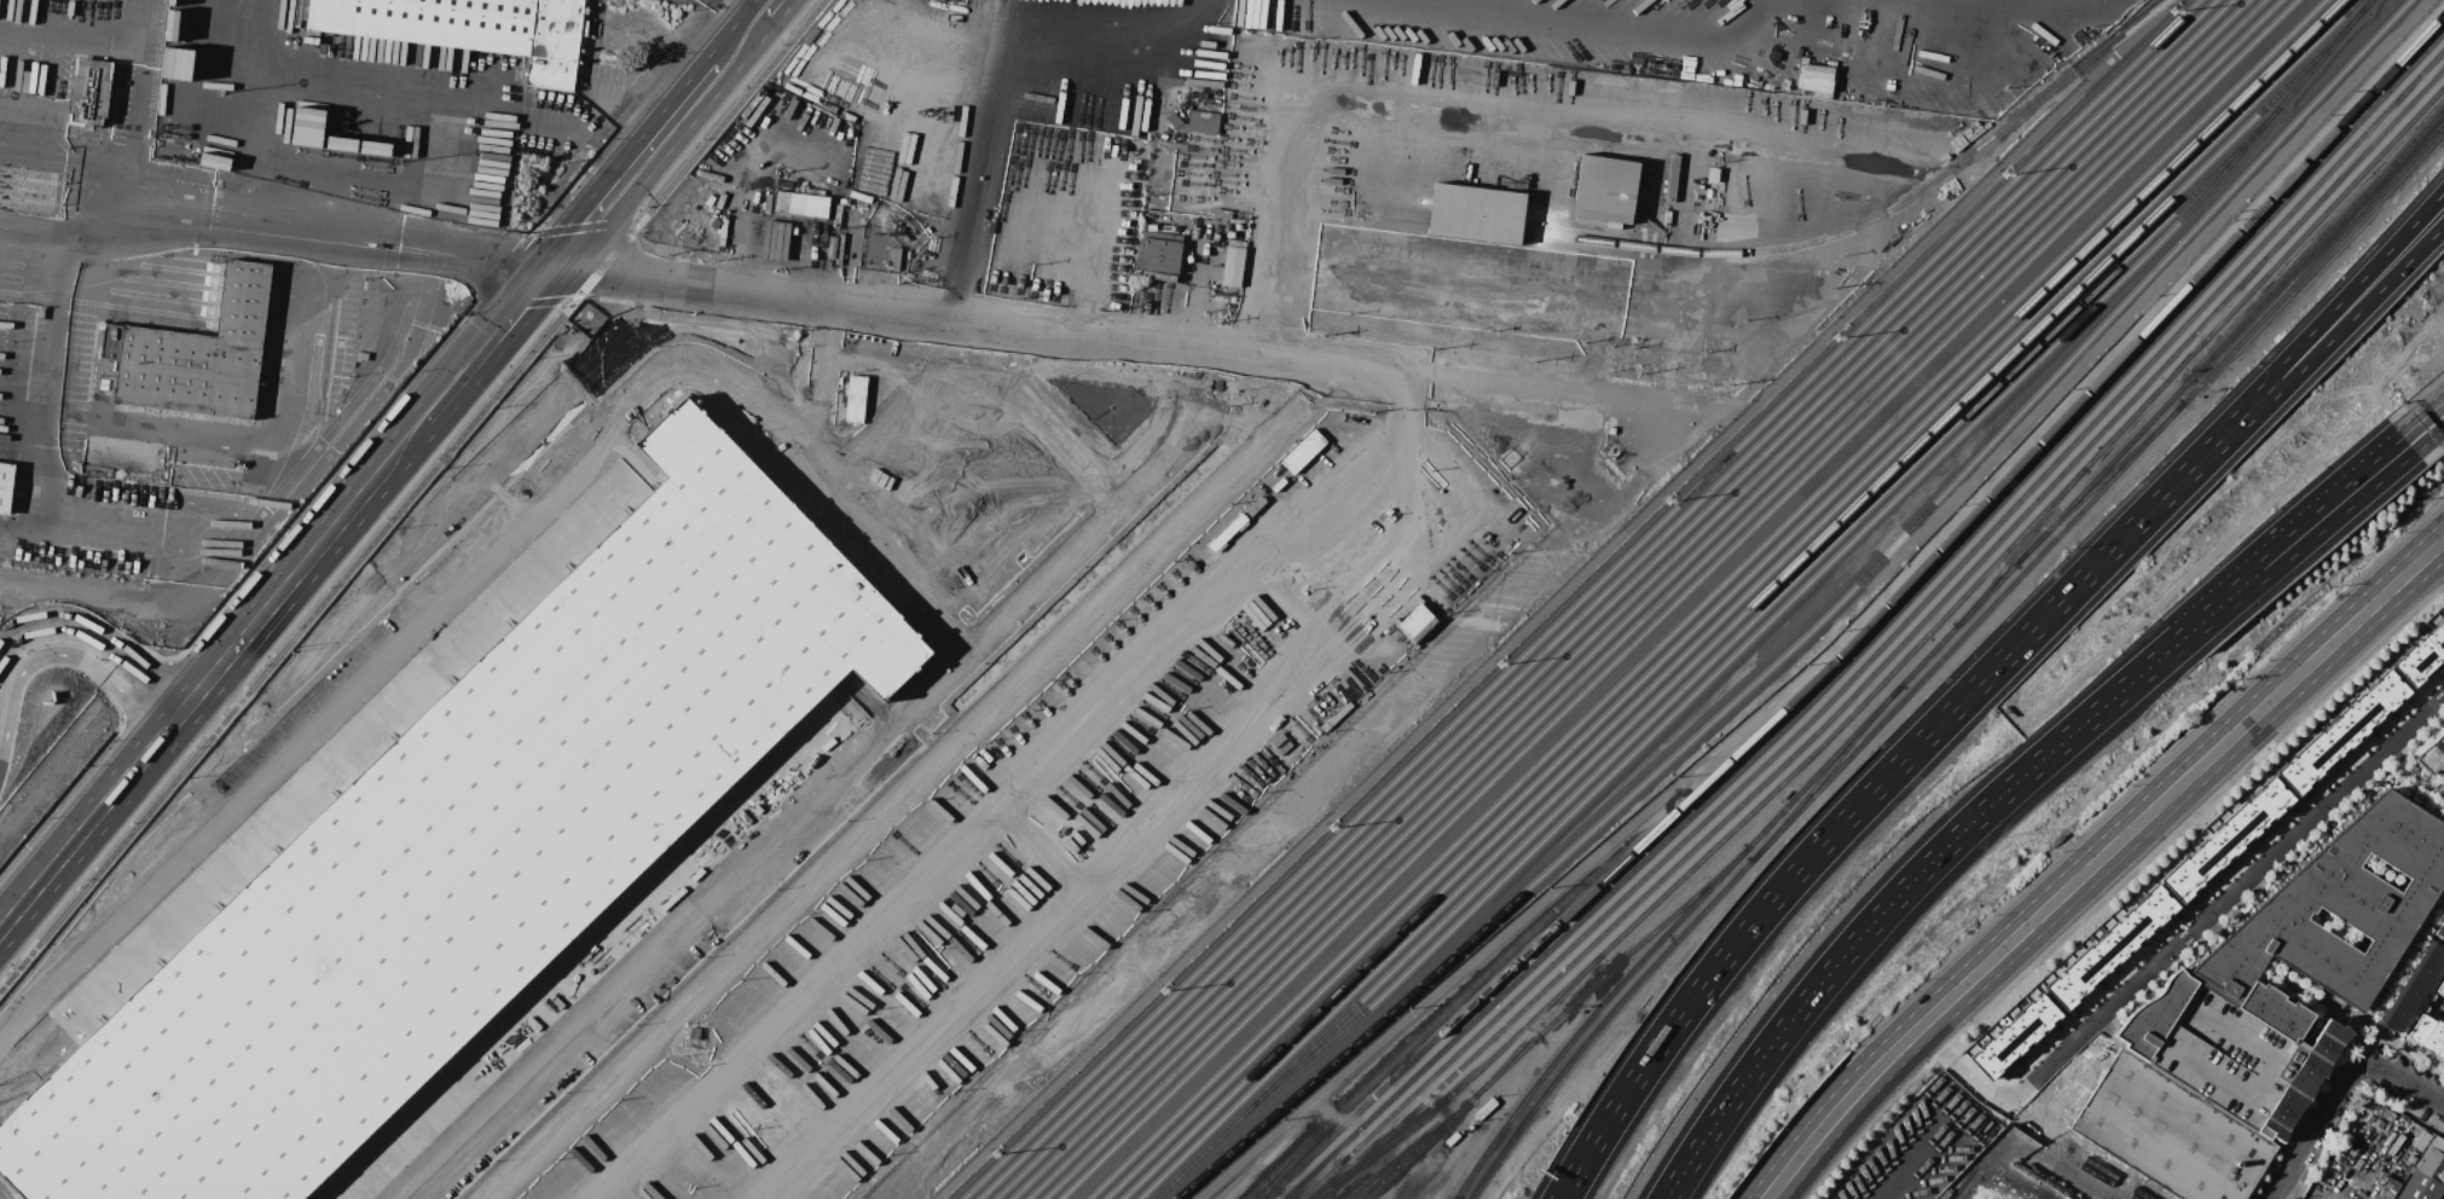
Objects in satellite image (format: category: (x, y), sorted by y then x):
road: (742, 11)
building: (432, 22)
road: (745, 36)
road: (66, 37)
road: (1291, 41)
building: (555, 44)
building: (91, 91)
road: (348, 92)
road: (988, 98)
road: (2066, 102)
road: (1541, 104)
road: (627, 105)
road: (732, 109)
road: (2029, 117)
building: (1195, 122)
road: (1985, 139)
road: (58, 161)
road: (637, 164)
building: (1604, 189)
building: (801, 203)
building: (1475, 213)
building: (1222, 214)
road: (1284, 216)
road: (191, 218)
road: (586, 225)
road: (776, 234)
building: (776, 239)
railway: (1807, 241)
road: (743, 248)
road: (473, 249)
building: (1160, 251)
road: (807, 254)
road: (966, 254)
traffic signals: (564, 259)
road: (608, 259)
railway: (2312, 262)
building: (1233, 266)
road: (498, 268)
road: (93, 280)
road: (520, 303)
road: (1083, 328)
railway: (2229, 335)
road: (2301, 340)
building: (199, 354)
road: (2306, 363)
road: (473, 364)
road: (813, 396)
road: (1001, 396)
building: (855, 398)
road: (1674, 401)
road: (2422, 417)
road: (2428, 439)
road: (986, 450)
building: (1302, 451)
road: (933, 463)
parking lot: (944, 482)
railway: (2098, 482)
building: (6, 486)
road: (890, 490)
road: (2332, 500)
road: (276, 509)
road: (2339, 509)
railway: (2067, 525)
road: (862, 531)
road: (1010, 545)
railway: (2020, 548)
railway: (1824, 564)
road: (289, 580)
railway: (1985, 595)
railway: (1579, 598)
railway: (1627, 598)
railway: (1660, 598)
railway: (1676, 598)
railway: (1720, 598)
railway: (1737, 598)
railway: (1595, 599)
railway: (1611, 599)
railway: (1644, 599)
road: (1691, 599)
railway: (1704, 599)
road: (2222, 602)
railway: (1750, 603)
railway: (1870, 621)
building: (1415, 622)
railway: (1813, 624)
railway: (1880, 631)
railway: (1887, 642)
railway: (1903, 642)
road: (288, 644)
road: (88, 650)
road: (380, 653)
railway: (1716, 653)
railway: (1928, 655)
building: (2421, 655)
railway: (1899, 665)
road: (1447, 702)
building: (2340, 731)
road: (224, 736)
railway: (1851, 753)
building: (2433, 754)
railway: (1830, 758)
railway: (1825, 772)
road: (2411, 780)
road: (834, 784)
road: (1017, 787)
road: (99, 810)
road: (1836, 827)
road: (1143, 833)
building: (2225, 839)
building: (467, 846)
road: (2096, 861)
road: (1895, 896)
road: (2228, 907)
building: (2316, 926)
building: (2442, 929)
building: (2109, 948)
railway: (1593, 981)
road: (2396, 984)
building: (2414, 989)
building: (2442, 991)
railway: (1460, 998)
road: (2438, 1006)
railway: (1597, 1007)
railway: (1600, 1023)
railway: (1537, 1025)
building: (2012, 1036)
building: (2429, 1036)
building: (2223, 1055)
parking lot: (2223, 1055)
building: (2304, 1079)
road: (2405, 1084)
road: (2315, 1129)
building: (2171, 1131)
road: (2299, 1135)
building: (2421, 1140)
road: (1992, 1153)
road: (1916, 1155)
railway: (1402, 1159)
building: (2432, 1160)
railway: (1396, 1162)
railway: (1291, 1163)
road: (2079, 1178)
building: (2420, 1187)
building: (2384, 1188)
road: (625, 1189)
parking lot: (4, 1194)
building: (2060, 1198)
building: (2064, 1198)

